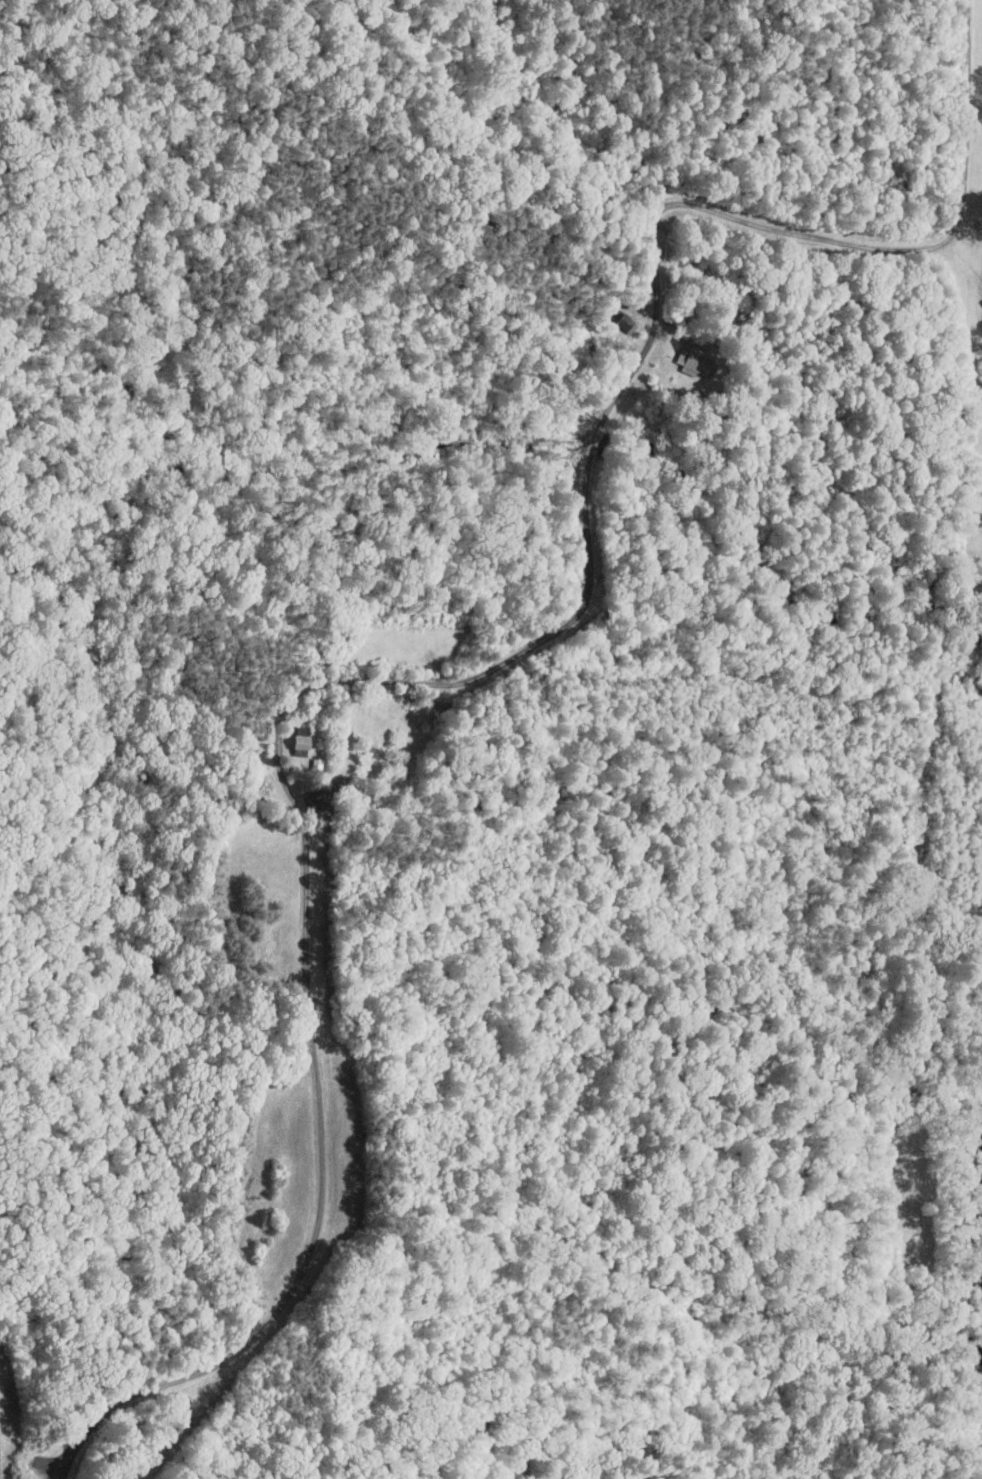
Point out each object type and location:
building: (610, 316)
building: (681, 356)
road: (502, 663)
building: (288, 736)
road: (76, 1444)

